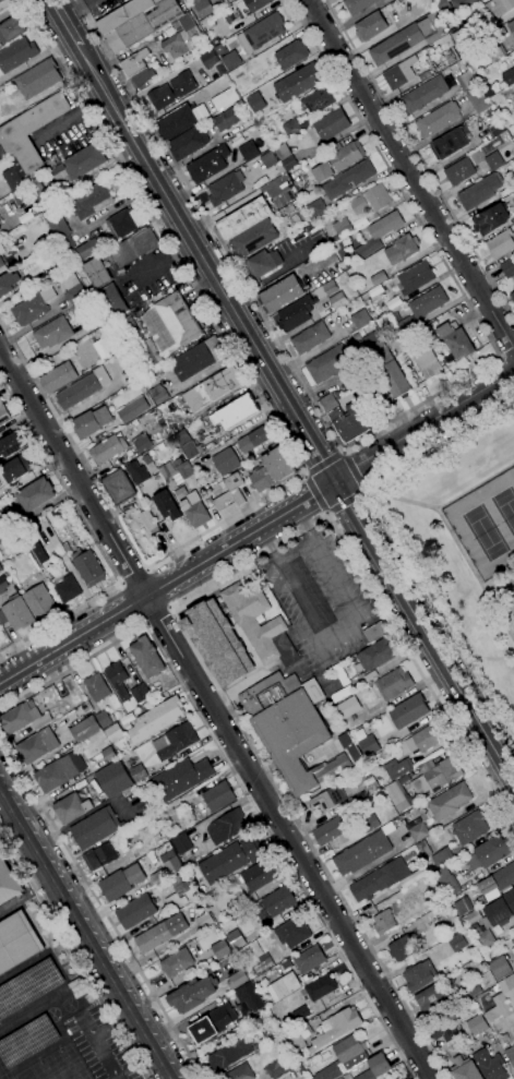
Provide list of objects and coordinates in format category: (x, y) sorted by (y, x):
building: (429, 0)
building: (1, 1)
building: (5, 3)
building: (256, 4)
building: (461, 4)
building: (357, 5)
building: (442, 5)
building: (203, 7)
building: (499, 8)
building: (123, 15)
road: (63, 22)
building: (143, 25)
building: (371, 25)
building: (511, 27)
building: (11, 29)
building: (261, 33)
building: (180, 37)
building: (461, 37)
building: (396, 44)
building: (17, 53)
building: (443, 53)
building: (494, 53)
building: (289, 56)
building: (208, 59)
building: (231, 60)
building: (136, 69)
building: (399, 73)
building: (509, 76)
building: (37, 79)
building: (466, 80)
building: (298, 82)
building: (171, 91)
building: (425, 94)
building: (477, 99)
building: (316, 100)
building: (254, 101)
building: (438, 119)
building: (225, 120)
building: (179, 121)
building: (330, 124)
building: (294, 127)
building: (495, 128)
building: (31, 131)
building: (188, 143)
building: (449, 144)
building: (248, 152)
building: (345, 154)
building: (2, 155)
building: (285, 157)
road: (418, 160)
building: (83, 161)
building: (493, 161)
building: (207, 165)
building: (459, 171)
building: (322, 172)
road: (410, 172)
building: (13, 179)
building: (348, 180)
building: (224, 189)
building: (275, 191)
building: (479, 192)
building: (371, 200)
building: (91, 201)
building: (316, 209)
building: (243, 218)
building: (489, 219)
building: (125, 223)
building: (342, 228)
building: (61, 232)
building: (375, 236)
building: (253, 238)
building: (501, 243)
building: (131, 248)
building: (87, 249)
building: (402, 249)
building: (1, 263)
building: (260, 265)
building: (507, 267)
building: (97, 273)
road: (270, 275)
building: (414, 278)
building: (8, 283)
building: (74, 290)
building: (280, 295)
building: (330, 295)
building: (512, 296)
building: (427, 302)
building: (109, 303)
building: (32, 308)
building: (80, 311)
building: (296, 314)
building: (360, 319)
building: (170, 323)
building: (406, 326)
building: (52, 333)
building: (310, 338)
building: (455, 341)
building: (139, 343)
building: (104, 347)
road: (506, 352)
building: (198, 359)
building: (423, 360)
building: (330, 364)
building: (385, 365)
building: (58, 377)
building: (213, 388)
building: (79, 392)
building: (158, 394)
building: (328, 404)
building: (132, 410)
building: (235, 412)
road: (295, 412)
building: (3, 413)
building: (91, 422)
building: (348, 423)
road: (425, 427)
road: (373, 432)
road: (280, 436)
building: (182, 437)
building: (253, 440)
building: (11, 444)
building: (108, 448)
building: (191, 449)
road: (342, 453)
building: (226, 461)
road: (323, 465)
building: (183, 468)
building: (13, 470)
building: (272, 470)
road: (351, 471)
building: (136, 472)
road: (303, 476)
building: (170, 482)
road: (475, 485)
building: (118, 487)
road: (364, 491)
building: (230, 492)
building: (180, 493)
road: (314, 493)
building: (35, 495)
road: (315, 495)
road: (344, 501)
building: (166, 505)
park: (504, 508)
building: (194, 509)
building: (154, 511)
road: (326, 513)
building: (148, 521)
road: (270, 523)
park: (482, 532)
road: (450, 533)
road: (396, 540)
road: (94, 541)
building: (33, 542)
park: (466, 543)
building: (88, 567)
road: (195, 567)
building: (0, 570)
road: (131, 574)
building: (7, 584)
building: (68, 589)
building: (39, 601)
building: (244, 602)
road: (171, 607)
building: (15, 613)
road: (156, 615)
road: (500, 615)
road: (340, 632)
building: (374, 632)
road: (73, 639)
building: (271, 642)
building: (217, 643)
building: (375, 655)
building: (147, 657)
road: (71, 667)
building: (117, 680)
building: (393, 684)
building: (96, 687)
building: (140, 693)
building: (348, 708)
building: (408, 711)
road: (216, 712)
building: (24, 718)
building: (104, 719)
building: (155, 720)
building: (291, 729)
building: (85, 730)
building: (113, 732)
building: (422, 740)
building: (175, 742)
building: (368, 745)
building: (36, 746)
building: (349, 746)
building: (108, 755)
road: (3, 768)
building: (396, 768)
building: (59, 771)
building: (139, 774)
building: (439, 774)
building: (113, 778)
building: (181, 778)
road: (2, 779)
building: (218, 796)
building: (397, 796)
building: (327, 799)
building: (71, 808)
building: (438, 810)
building: (369, 824)
building: (226, 826)
building: (94, 828)
building: (469, 828)
building: (328, 830)
building: (181, 843)
building: (423, 849)
building: (364, 850)
road: (277, 851)
building: (490, 852)
building: (99, 856)
building: (441, 856)
building: (152, 858)
building: (230, 860)
building: (170, 863)
building: (260, 875)
building: (379, 879)
building: (498, 879)
building: (446, 882)
building: (8, 883)
building: (121, 883)
building: (177, 894)
building: (278, 901)
building: (463, 907)
road: (100, 909)
building: (136, 911)
building: (399, 912)
building: (493, 918)
building: (204, 921)
road: (93, 928)
building: (292, 932)
building: (160, 933)
road: (83, 938)
building: (235, 939)
building: (16, 942)
building: (456, 943)
building: (402, 948)
building: (219, 949)
building: (513, 951)
road: (71, 956)
building: (309, 959)
building: (176, 962)
building: (262, 964)
building: (499, 967)
building: (419, 975)
building: (237, 980)
building: (27, 986)
building: (284, 986)
building: (322, 988)
building: (495, 988)
building: (507, 988)
building: (469, 990)
building: (192, 994)
building: (249, 997)
building: (432, 999)
building: (499, 1008)
building: (300, 1014)
building: (211, 1024)
building: (477, 1024)
road: (85, 1027)
road: (110, 1027)
building: (335, 1028)
building: (442, 1030)
building: (298, 1038)
building: (26, 1040)
building: (349, 1051)
building: (229, 1054)
building: (510, 1055)
road: (105, 1058)
park: (68, 1064)
building: (277, 1065)
building: (490, 1065)
building: (375, 1067)
park: (46, 1069)
building: (465, 1069)
building: (328, 1072)
park: (24, 1075)
building: (347, 1076)
building: (397, 1078)

